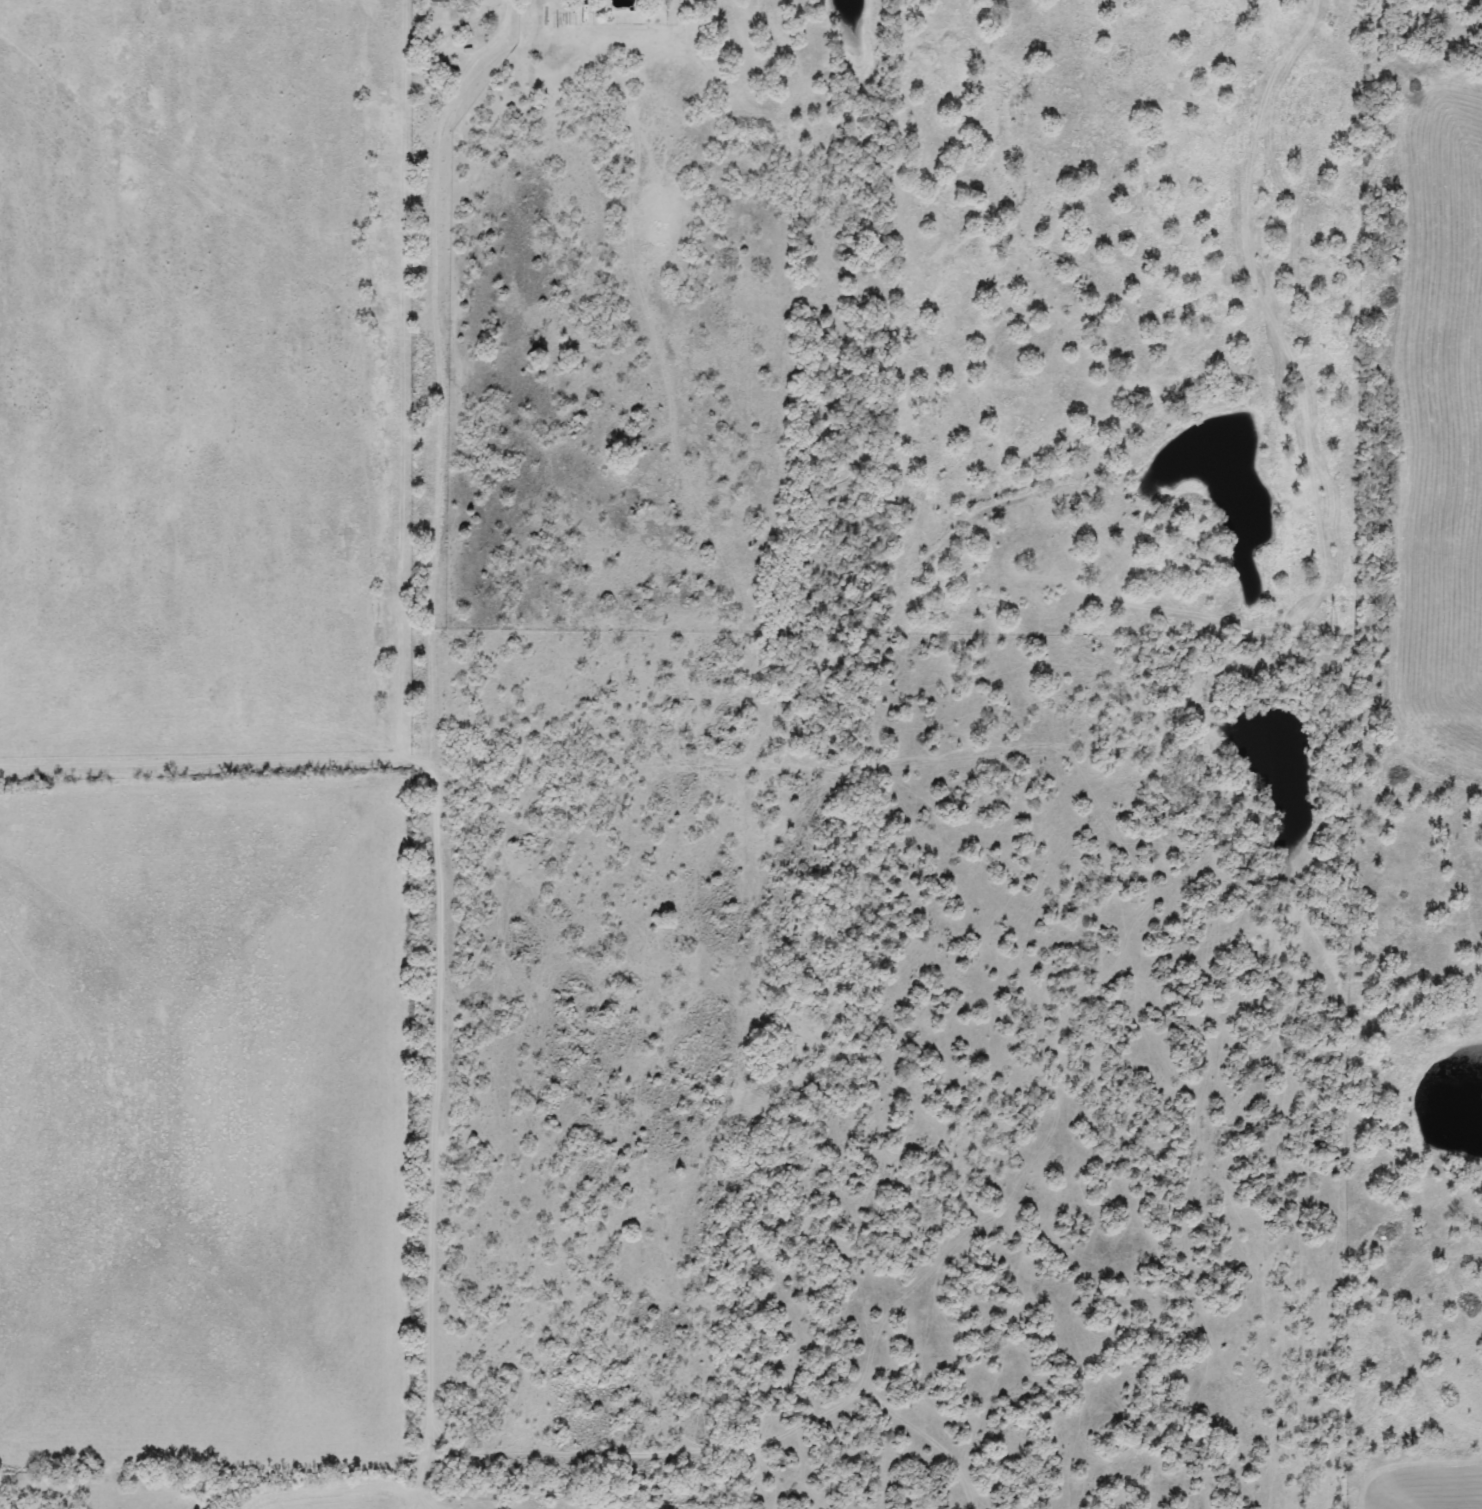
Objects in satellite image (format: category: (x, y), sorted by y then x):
road: (1240, 297)

